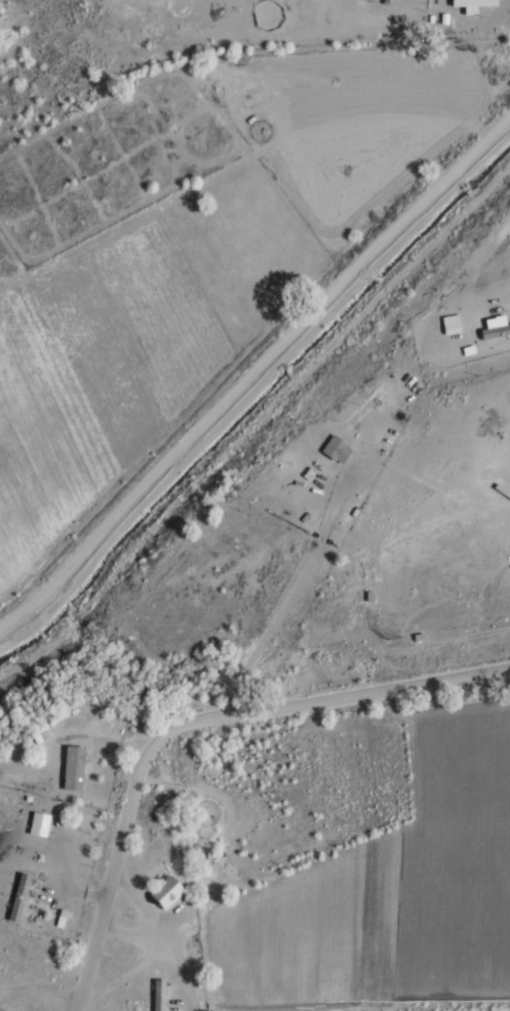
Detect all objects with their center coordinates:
building: (452, 323)
building: (495, 331)
road: (257, 374)
building: (338, 449)
road: (191, 720)
building: (74, 767)
building: (39, 823)
building: (167, 891)
building: (20, 897)
building: (159, 995)
building: (18, 1008)

